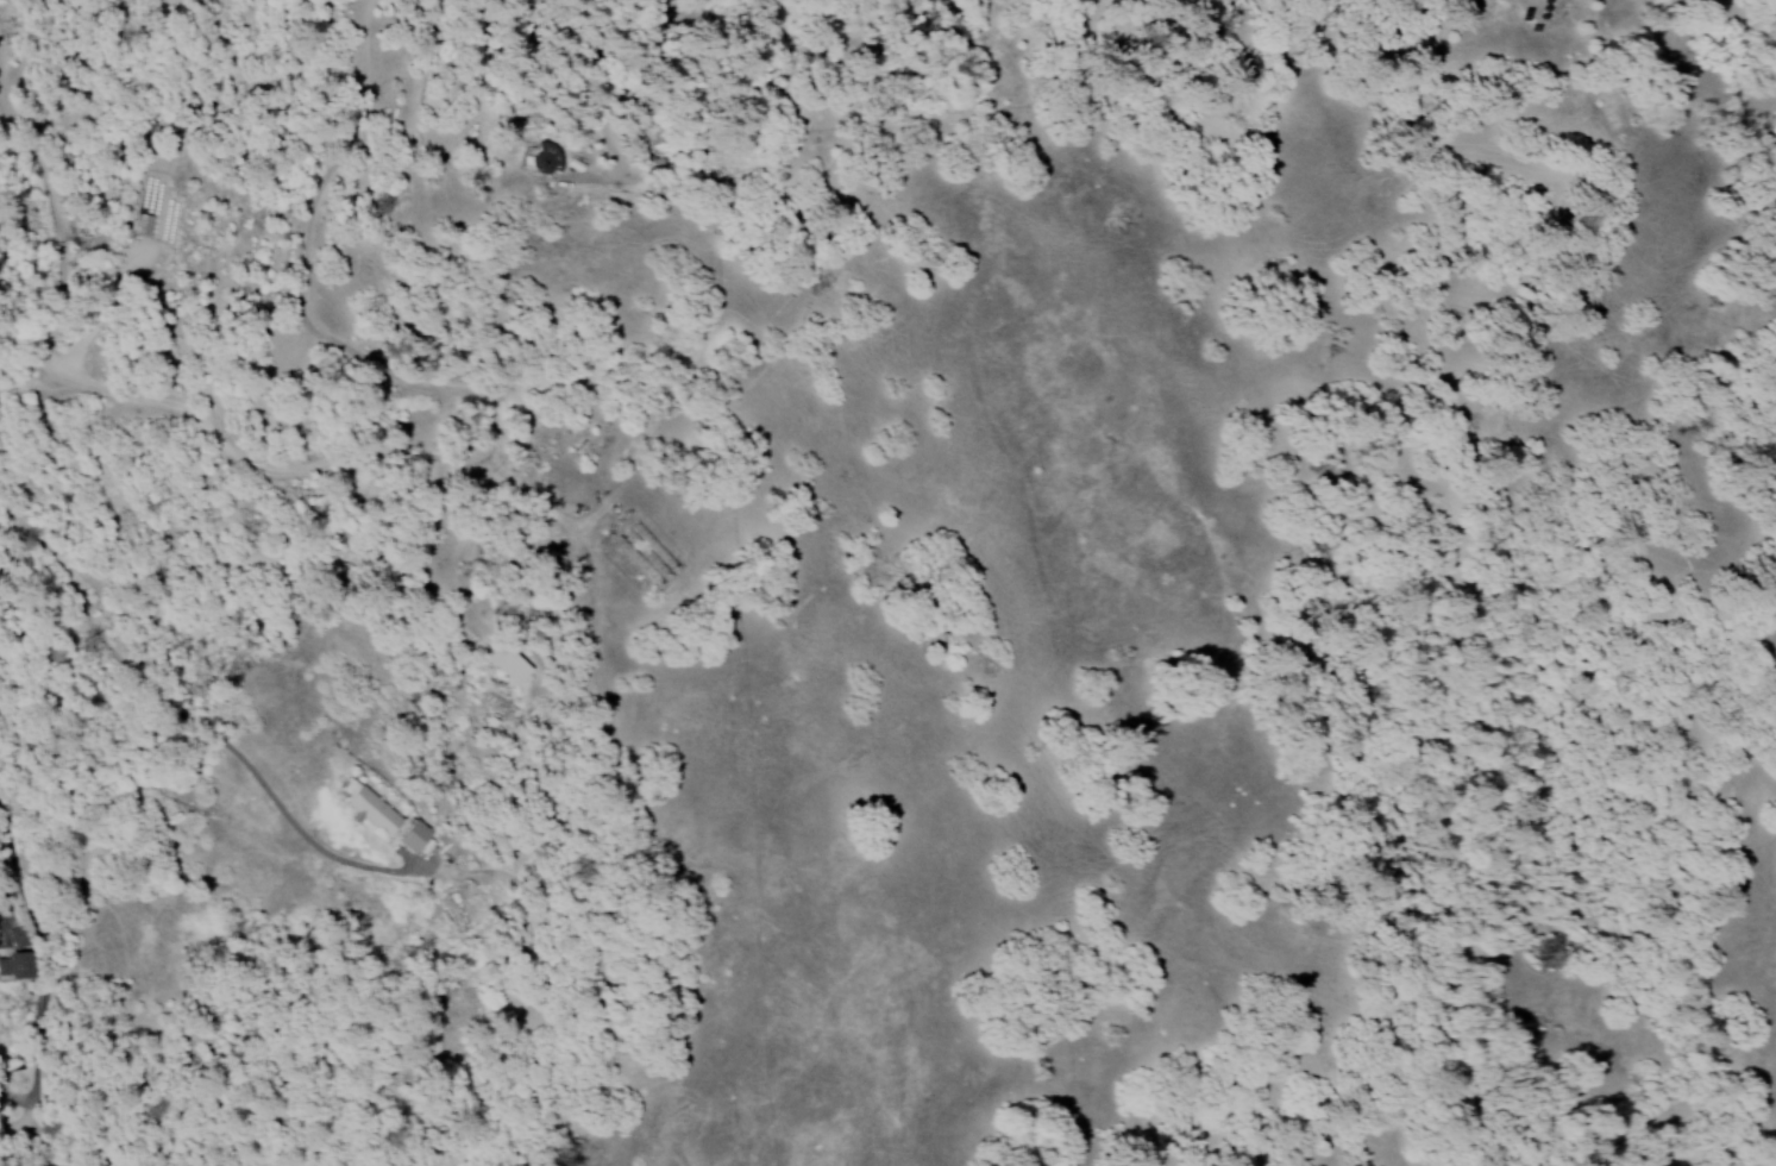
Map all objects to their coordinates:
road: (1232, 43)
building: (545, 157)
building: (144, 213)
building: (370, 809)
building: (412, 836)
building: (465, 910)
building: (12, 966)

